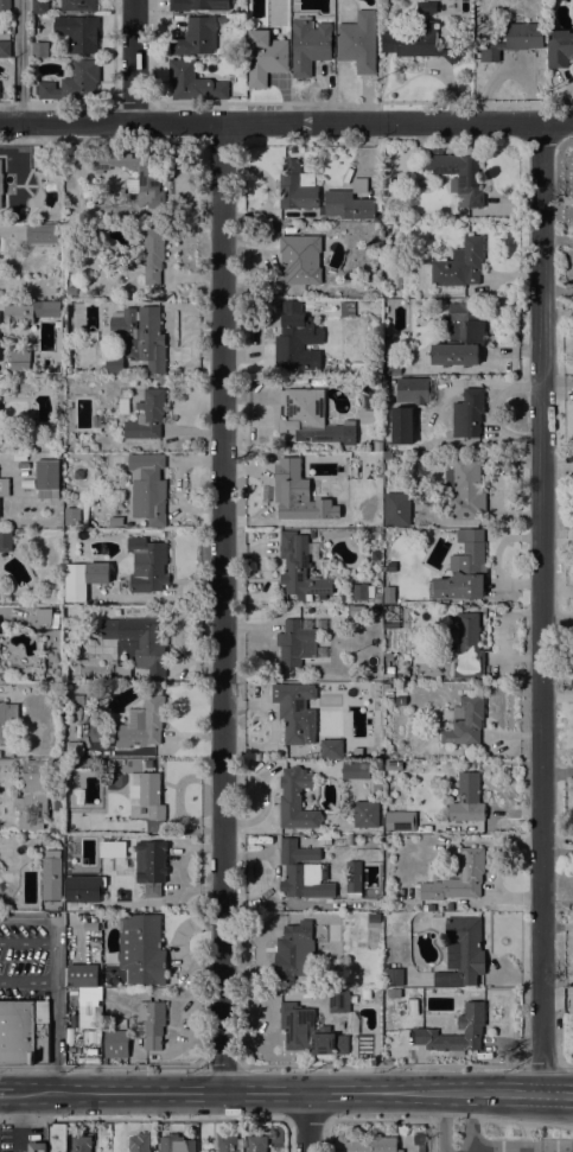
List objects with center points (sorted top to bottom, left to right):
building: (78, 5)
building: (198, 5)
building: (5, 6)
building: (39, 7)
building: (425, 7)
building: (78, 32)
building: (196, 37)
building: (514, 38)
building: (358, 42)
building: (419, 43)
building: (310, 44)
building: (560, 47)
building: (5, 49)
building: (40, 49)
building: (265, 57)
road: (19, 61)
road: (134, 61)
building: (193, 82)
building: (74, 83)
road: (9, 102)
road: (286, 123)
building: (47, 163)
building: (148, 176)
building: (460, 177)
building: (0, 183)
building: (359, 185)
building: (297, 186)
building: (25, 189)
building: (348, 205)
building: (291, 214)
building: (308, 214)
building: (2, 216)
building: (307, 224)
building: (43, 233)
building: (153, 254)
building: (406, 254)
building: (297, 257)
building: (460, 263)
building: (56, 294)
building: (76, 294)
building: (40, 308)
building: (348, 308)
building: (90, 336)
building: (141, 336)
building: (460, 336)
building: (297, 339)
building: (389, 350)
building: (114, 365)
building: (391, 365)
building: (123, 400)
building: (69, 405)
building: (469, 413)
building: (147, 415)
building: (310, 419)
building: (96, 422)
building: (400, 425)
building: (387, 456)
building: (350, 459)
building: (47, 478)
building: (4, 486)
building: (147, 488)
building: (464, 488)
building: (293, 491)
building: (396, 509)
building: (72, 516)
building: (115, 521)
building: (6, 541)
building: (299, 568)
building: (94, 569)
building: (463, 574)
building: (82, 578)
building: (359, 592)
building: (388, 594)
building: (377, 598)
road: (222, 607)
road: (541, 607)
building: (374, 610)
building: (357, 611)
building: (42, 615)
building: (388, 616)
building: (139, 641)
building: (295, 643)
building: (469, 647)
building: (389, 667)
building: (122, 673)
building: (369, 694)
building: (388, 695)
building: (78, 699)
building: (400, 700)
building: (295, 712)
building: (6, 718)
building: (465, 721)
building: (142, 724)
building: (331, 749)
building: (74, 750)
building: (393, 765)
building: (356, 769)
building: (34, 793)
building: (467, 798)
building: (151, 800)
building: (295, 800)
building: (57, 806)
building: (367, 814)
building: (399, 820)
building: (324, 839)
building: (338, 845)
building: (151, 866)
building: (304, 871)
building: (51, 874)
building: (351, 876)
building: (459, 877)
building: (127, 879)
building: (82, 892)
building: (431, 906)
building: (374, 917)
road: (27, 943)
building: (141, 949)
building: (294, 951)
building: (461, 953)
building: (83, 975)
building: (394, 976)
road: (53, 978)
road: (26, 981)
building: (367, 993)
building: (395, 993)
building: (340, 1000)
building: (88, 1019)
building: (148, 1023)
building: (469, 1026)
building: (308, 1031)
building: (24, 1032)
building: (115, 1043)
road: (101, 1064)
road: (222, 1064)
road: (381, 1064)
road: (540, 1064)
road: (566, 1064)
road: (6, 1091)
road: (33, 1093)
road: (139, 1093)
road: (397, 1093)
road: (144, 1119)
road: (306, 1119)
road: (378, 1119)
road: (457, 1119)
road: (469, 1121)
road: (308, 1122)
road: (443, 1122)
road: (527, 1122)
building: (422, 1137)
building: (57, 1138)
building: (81, 1143)
building: (140, 1143)
building: (227, 1143)
building: (255, 1143)
building: (176, 1144)
building: (371, 1144)
building: (37, 1147)
building: (421, 1147)
road: (522, 1150)
road: (465, 1151)

